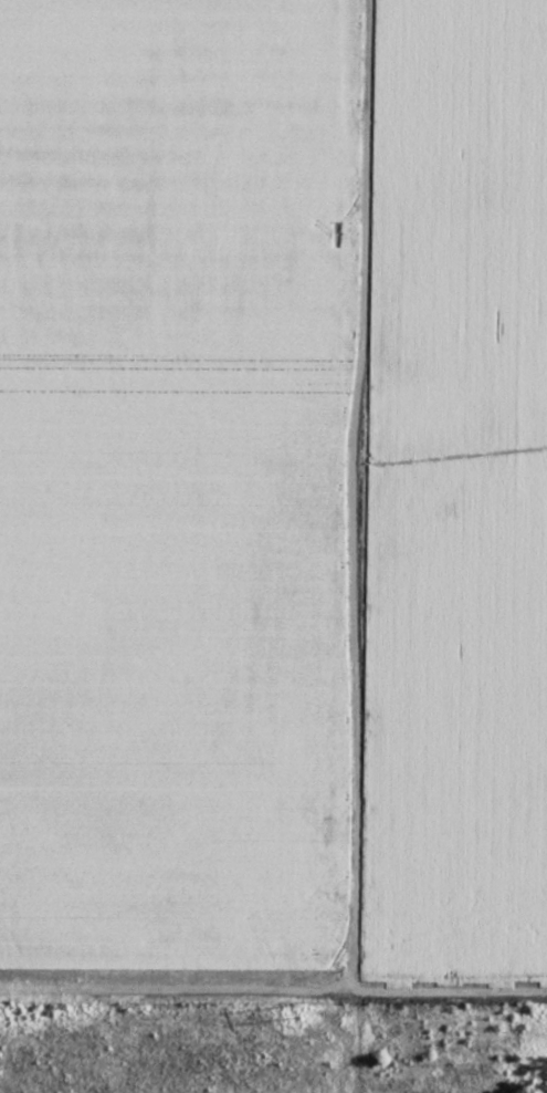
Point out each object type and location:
road: (351, 546)
power tower: (291, 1012)

